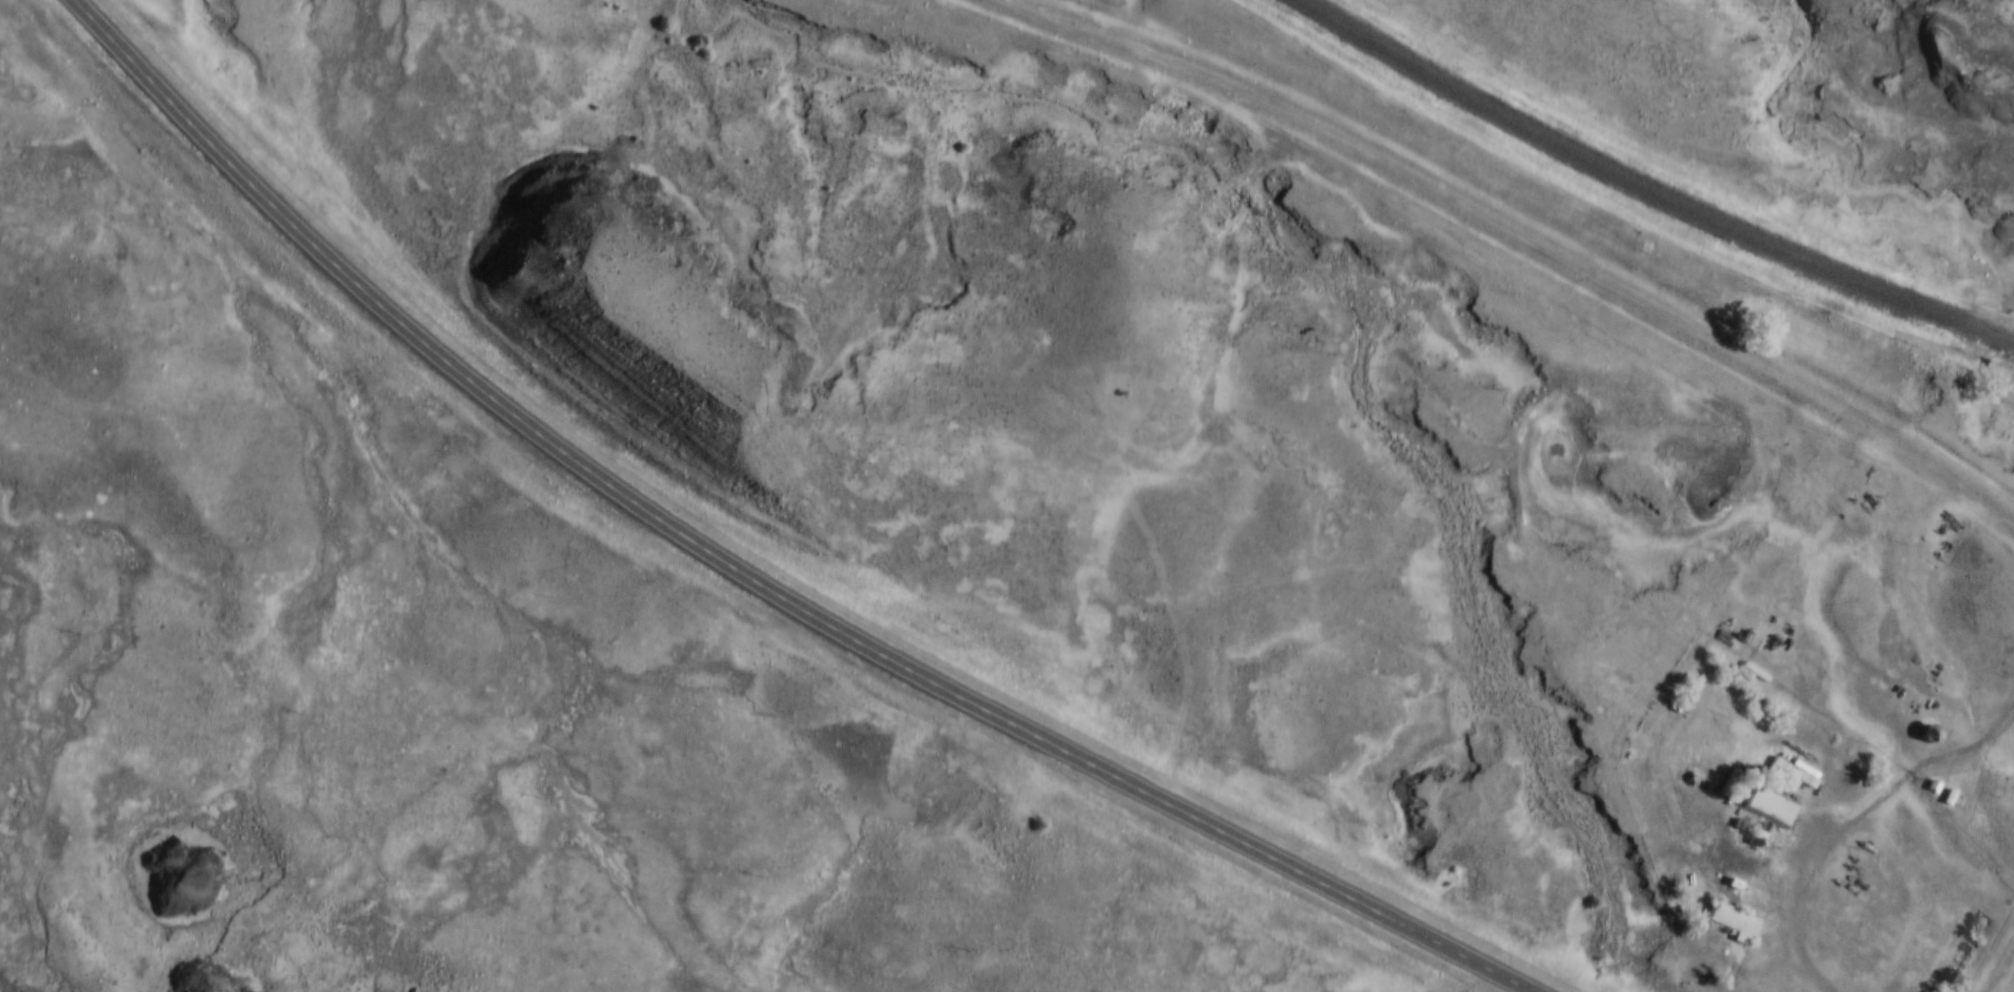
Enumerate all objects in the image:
railway: (1648, 190)
road: (1524, 236)
road: (757, 569)
building: (1922, 733)
building: (1798, 771)
building: (1929, 787)
building: (1945, 798)
building: (1774, 811)
road: (1856, 826)
building: (1738, 923)

